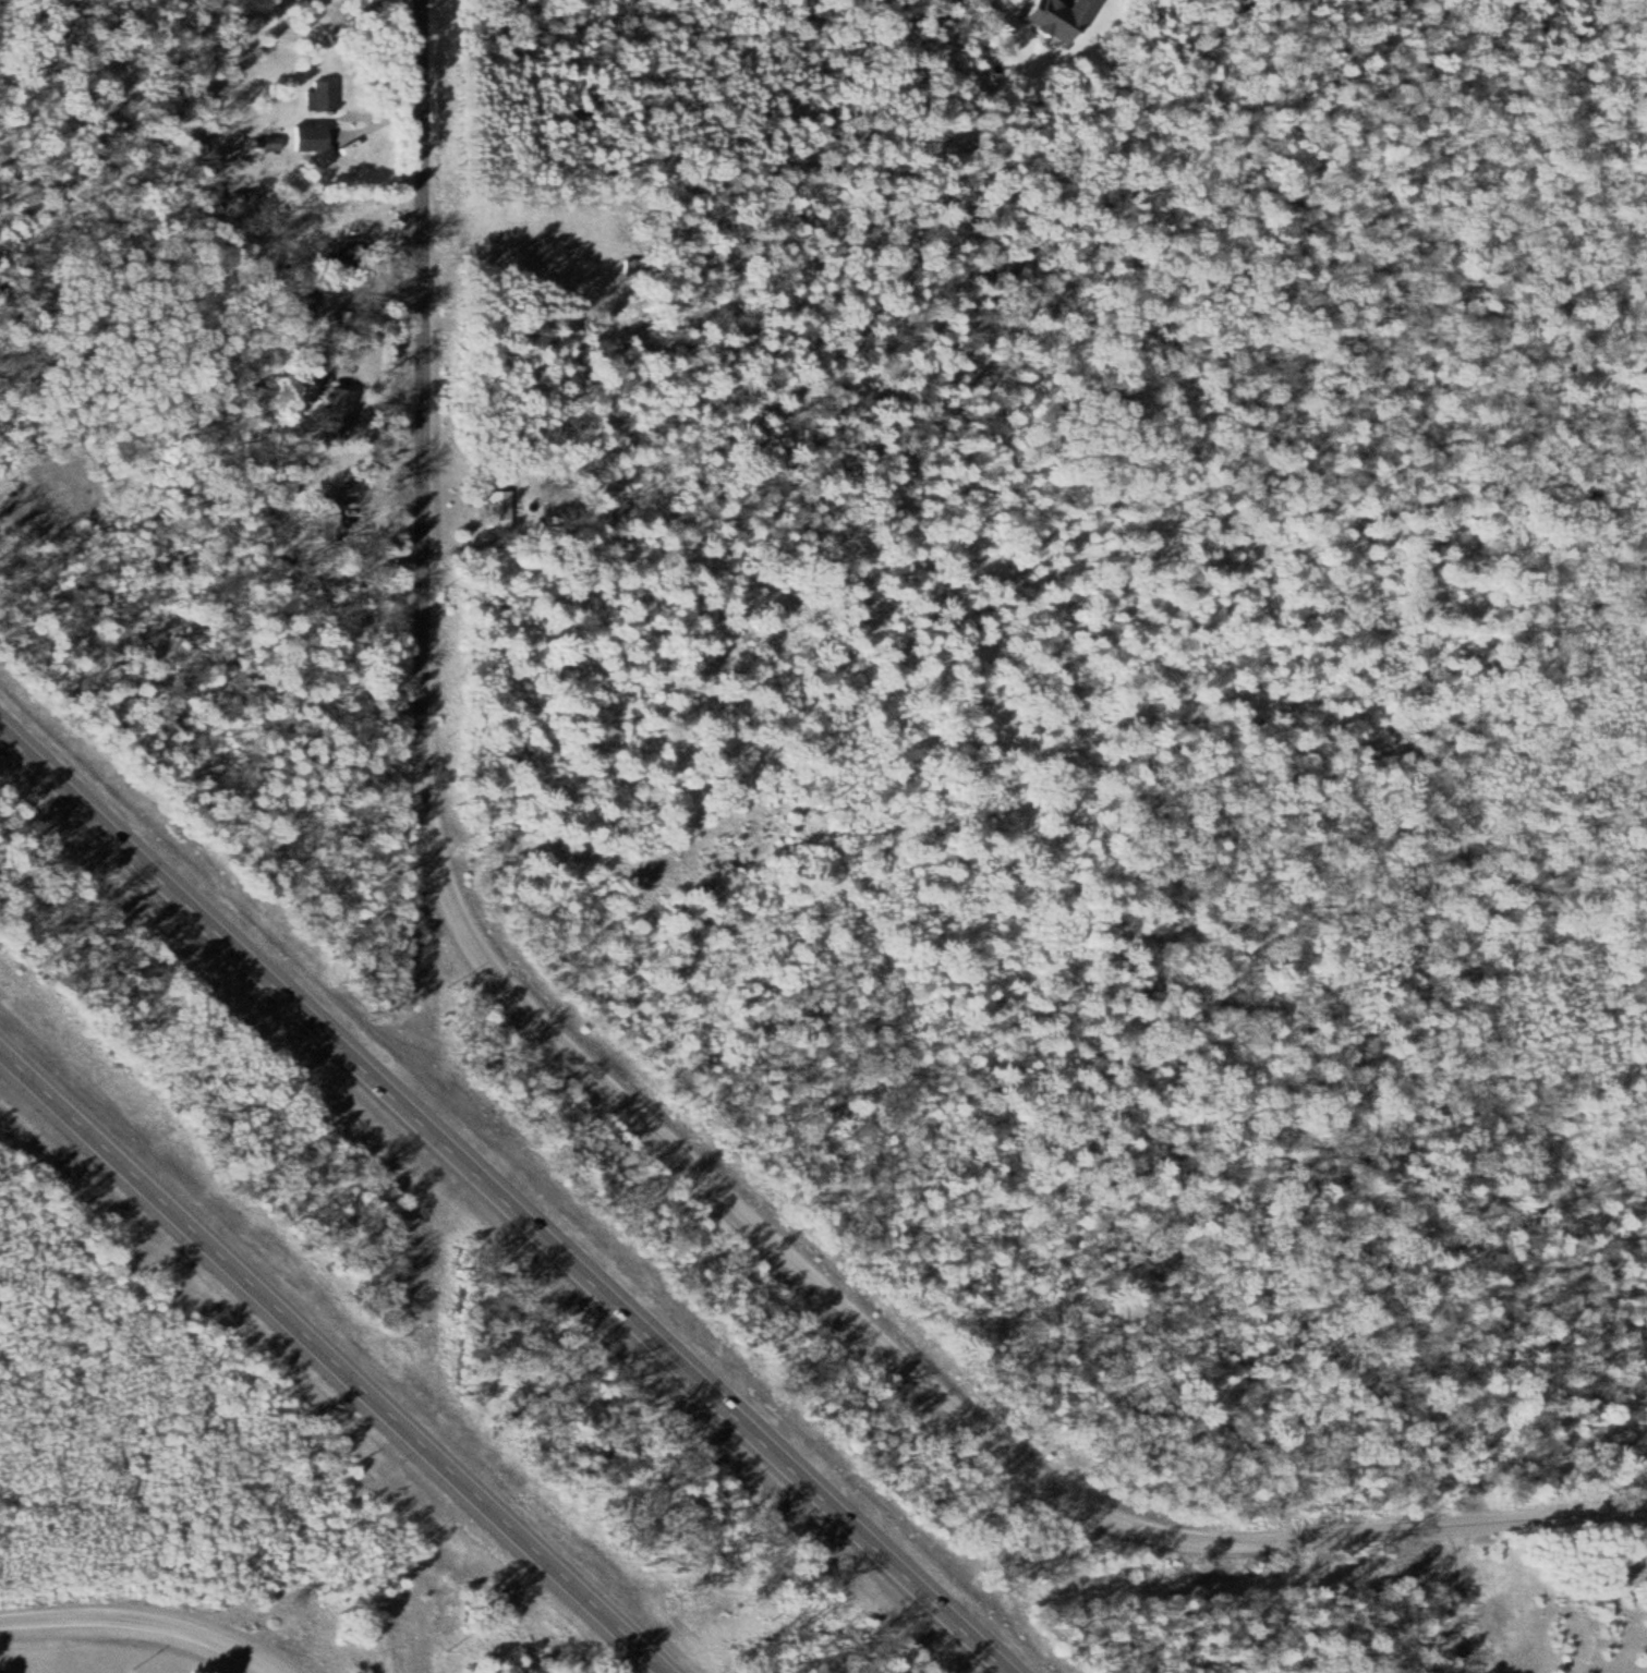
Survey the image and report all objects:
building: (1063, 19)
building: (323, 95)
building: (322, 371)
building: (346, 408)
road: (423, 433)
building: (504, 502)
building: (335, 514)
road: (475, 948)
road: (504, 1197)
road: (811, 1278)
road: (335, 1358)
road: (1373, 1530)
building: (1634, 1564)
road: (1461, 1599)
road: (145, 1621)

